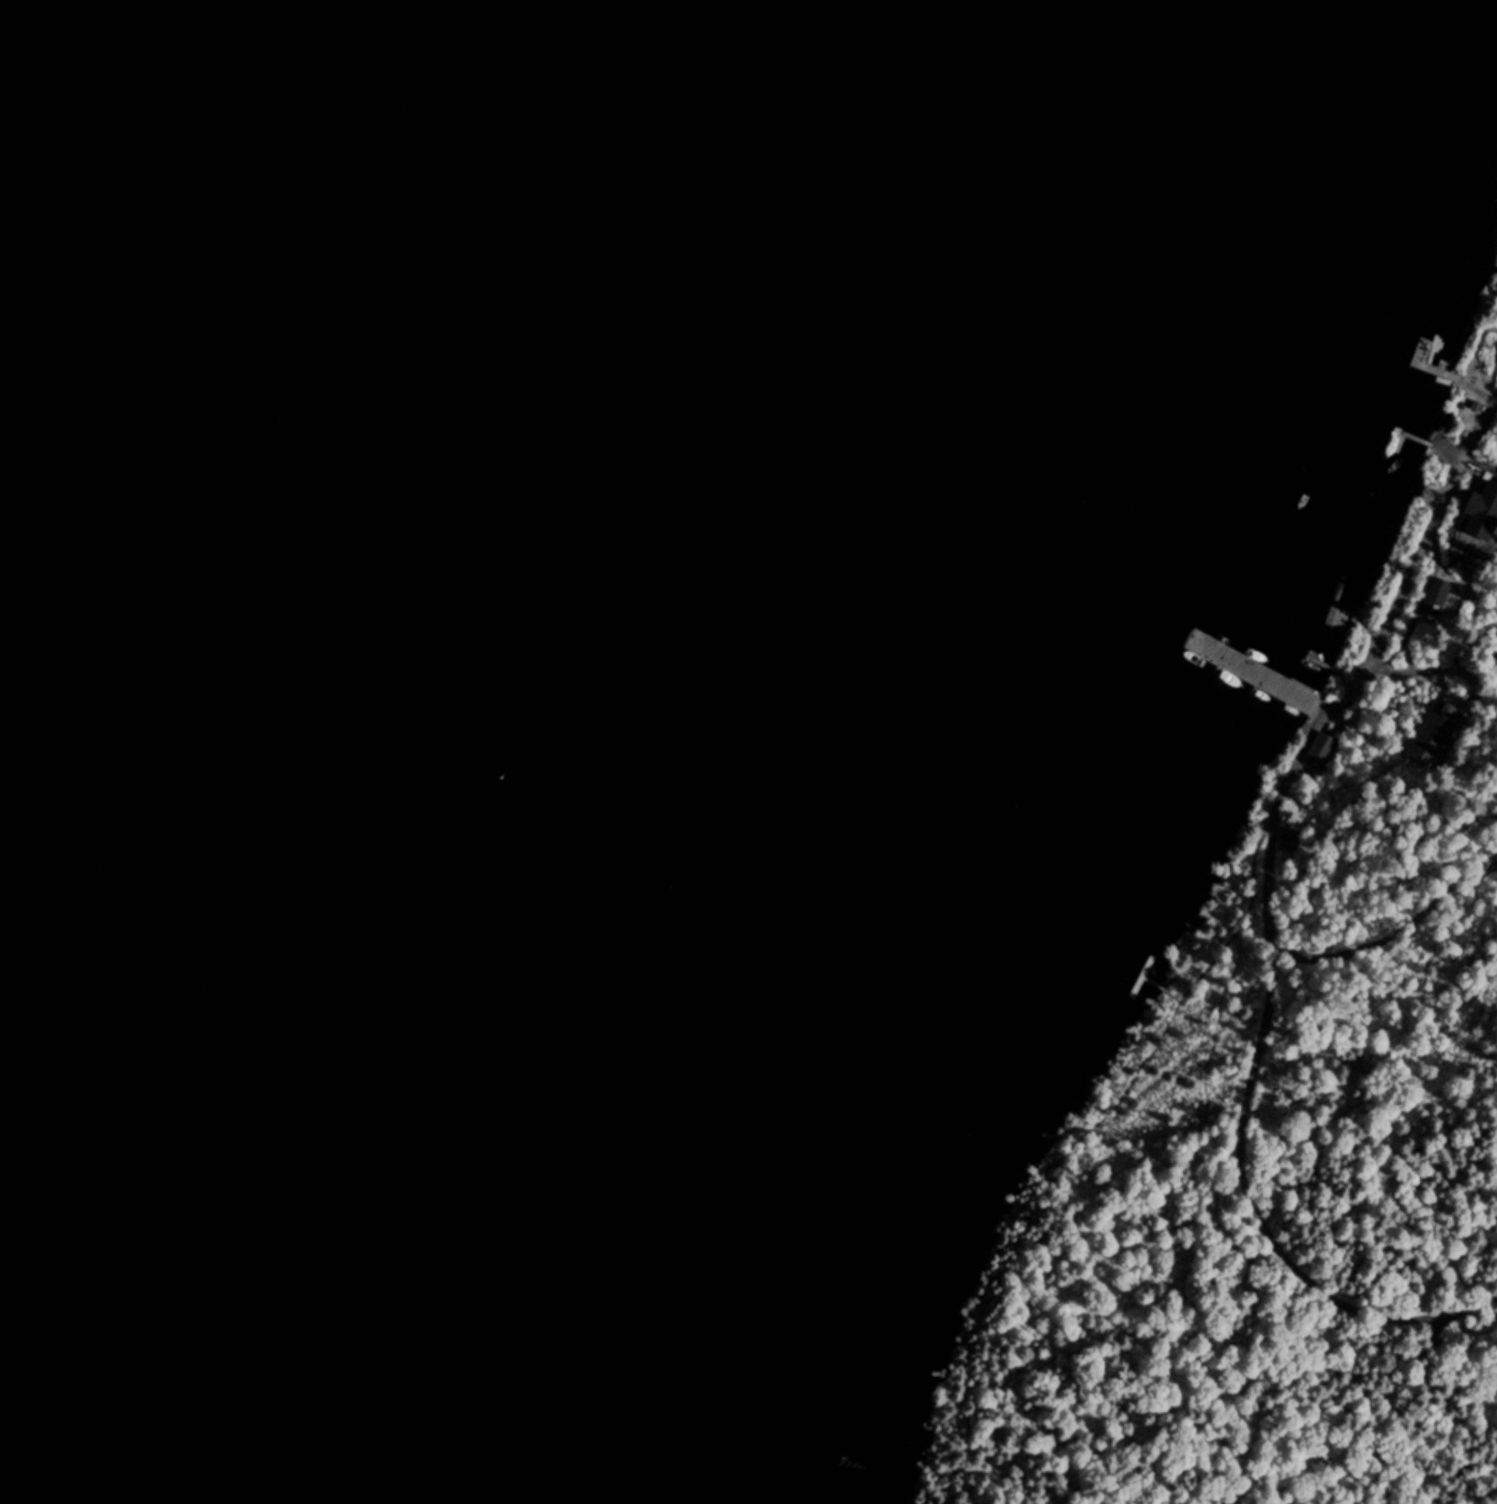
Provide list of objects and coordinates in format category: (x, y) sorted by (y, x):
pier: (1424, 350)
pier: (1406, 432)
pier: (1331, 591)
pier: (1342, 597)
building: (1437, 598)
road: (1396, 602)
pier: (1347, 609)
pier: (1252, 669)
road: (1432, 670)
building: (1438, 730)
building: (1320, 748)
building: (1289, 838)
building: (1493, 861)
road: (1400, 927)
pier: (1146, 969)
pier: (1153, 980)
road: (1240, 1145)
road: (1176, 1187)

